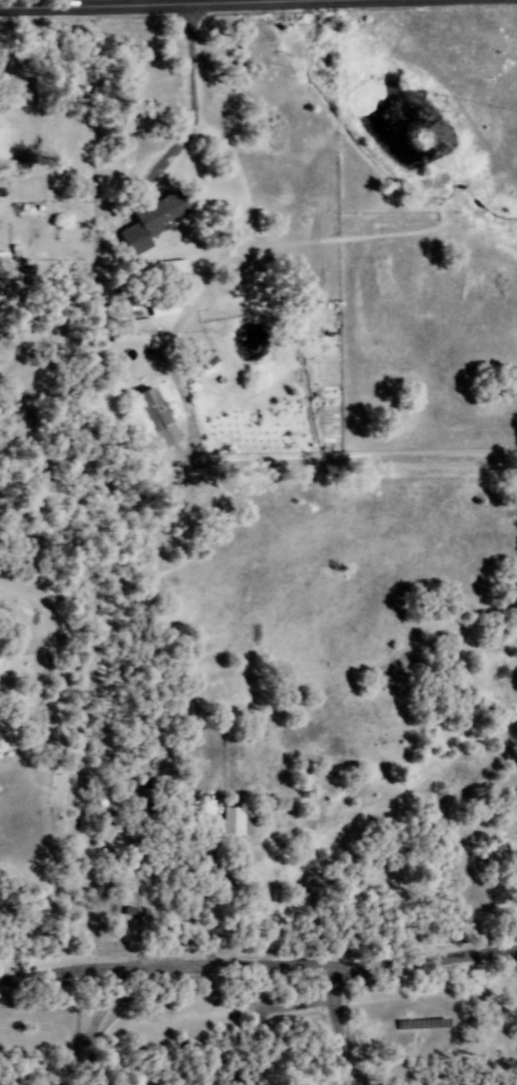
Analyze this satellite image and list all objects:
road: (120, 2)
road: (189, 94)
building: (162, 213)
building: (159, 419)
road: (324, 459)
building: (0, 740)
building: (149, 795)
building: (237, 821)
road: (258, 968)
road: (91, 1025)
road: (334, 1025)

